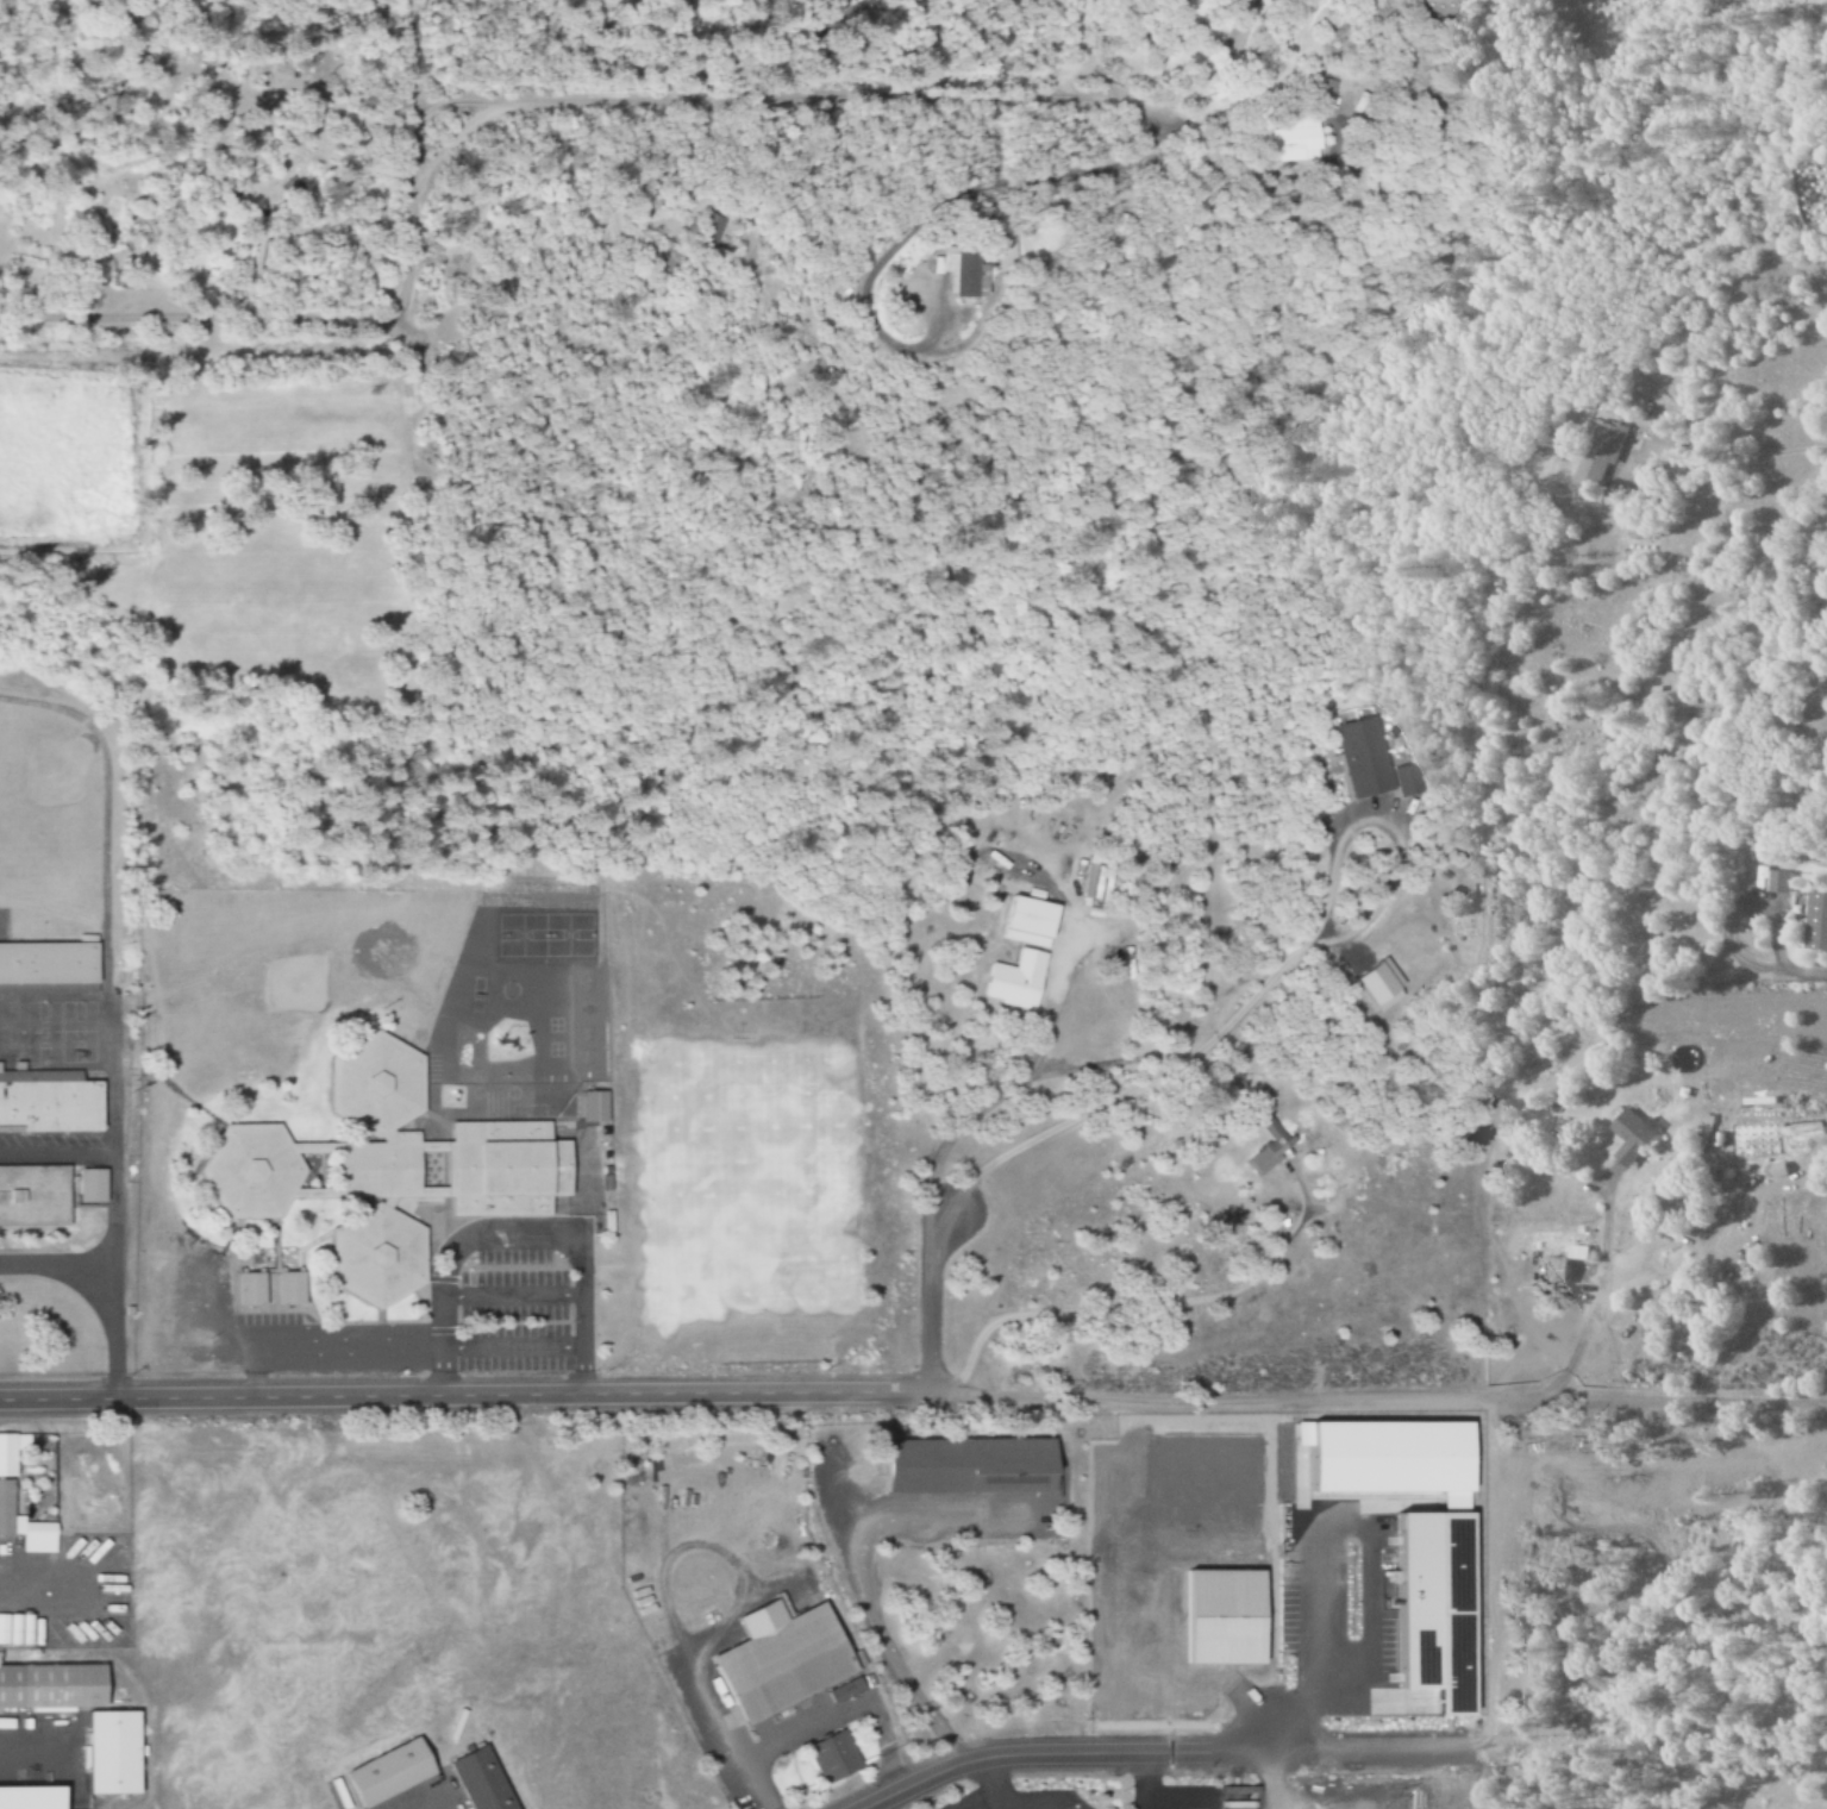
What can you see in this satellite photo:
building: (1308, 94)
road: (489, 104)
building: (1277, 140)
building: (110, 223)
building: (711, 229)
building: (987, 271)
building: (1595, 452)
building: (1775, 883)
building: (1031, 922)
building: (1814, 924)
building: (48, 963)
building: (1018, 979)
building: (1383, 985)
road: (110, 1014)
building: (378, 1083)
building: (50, 1106)
building: (595, 1107)
building: (1633, 1137)
building: (1270, 1146)
building: (507, 1168)
building: (255, 1170)
building: (378, 1170)
building: (1777, 1170)
park: (765, 1177)
building: (92, 1185)
building: (35, 1197)
road: (515, 1235)
building: (1579, 1252)
building: (380, 1256)
road: (57, 1262)
building: (1557, 1270)
building: (252, 1289)
building: (292, 1289)
road: (509, 1296)
road: (927, 1301)
parking lot: (514, 1312)
road: (511, 1347)
road: (913, 1394)
building: (11, 1453)
building: (969, 1465)
building: (1046, 1489)
building: (25, 1525)
building: (1443, 1607)
building: (784, 1660)
building: (54, 1688)
building: (846, 1690)
building: (115, 1753)
road: (1066, 1753)
building: (836, 1758)
building: (392, 1773)
building: (486, 1780)
building: (32, 1798)

